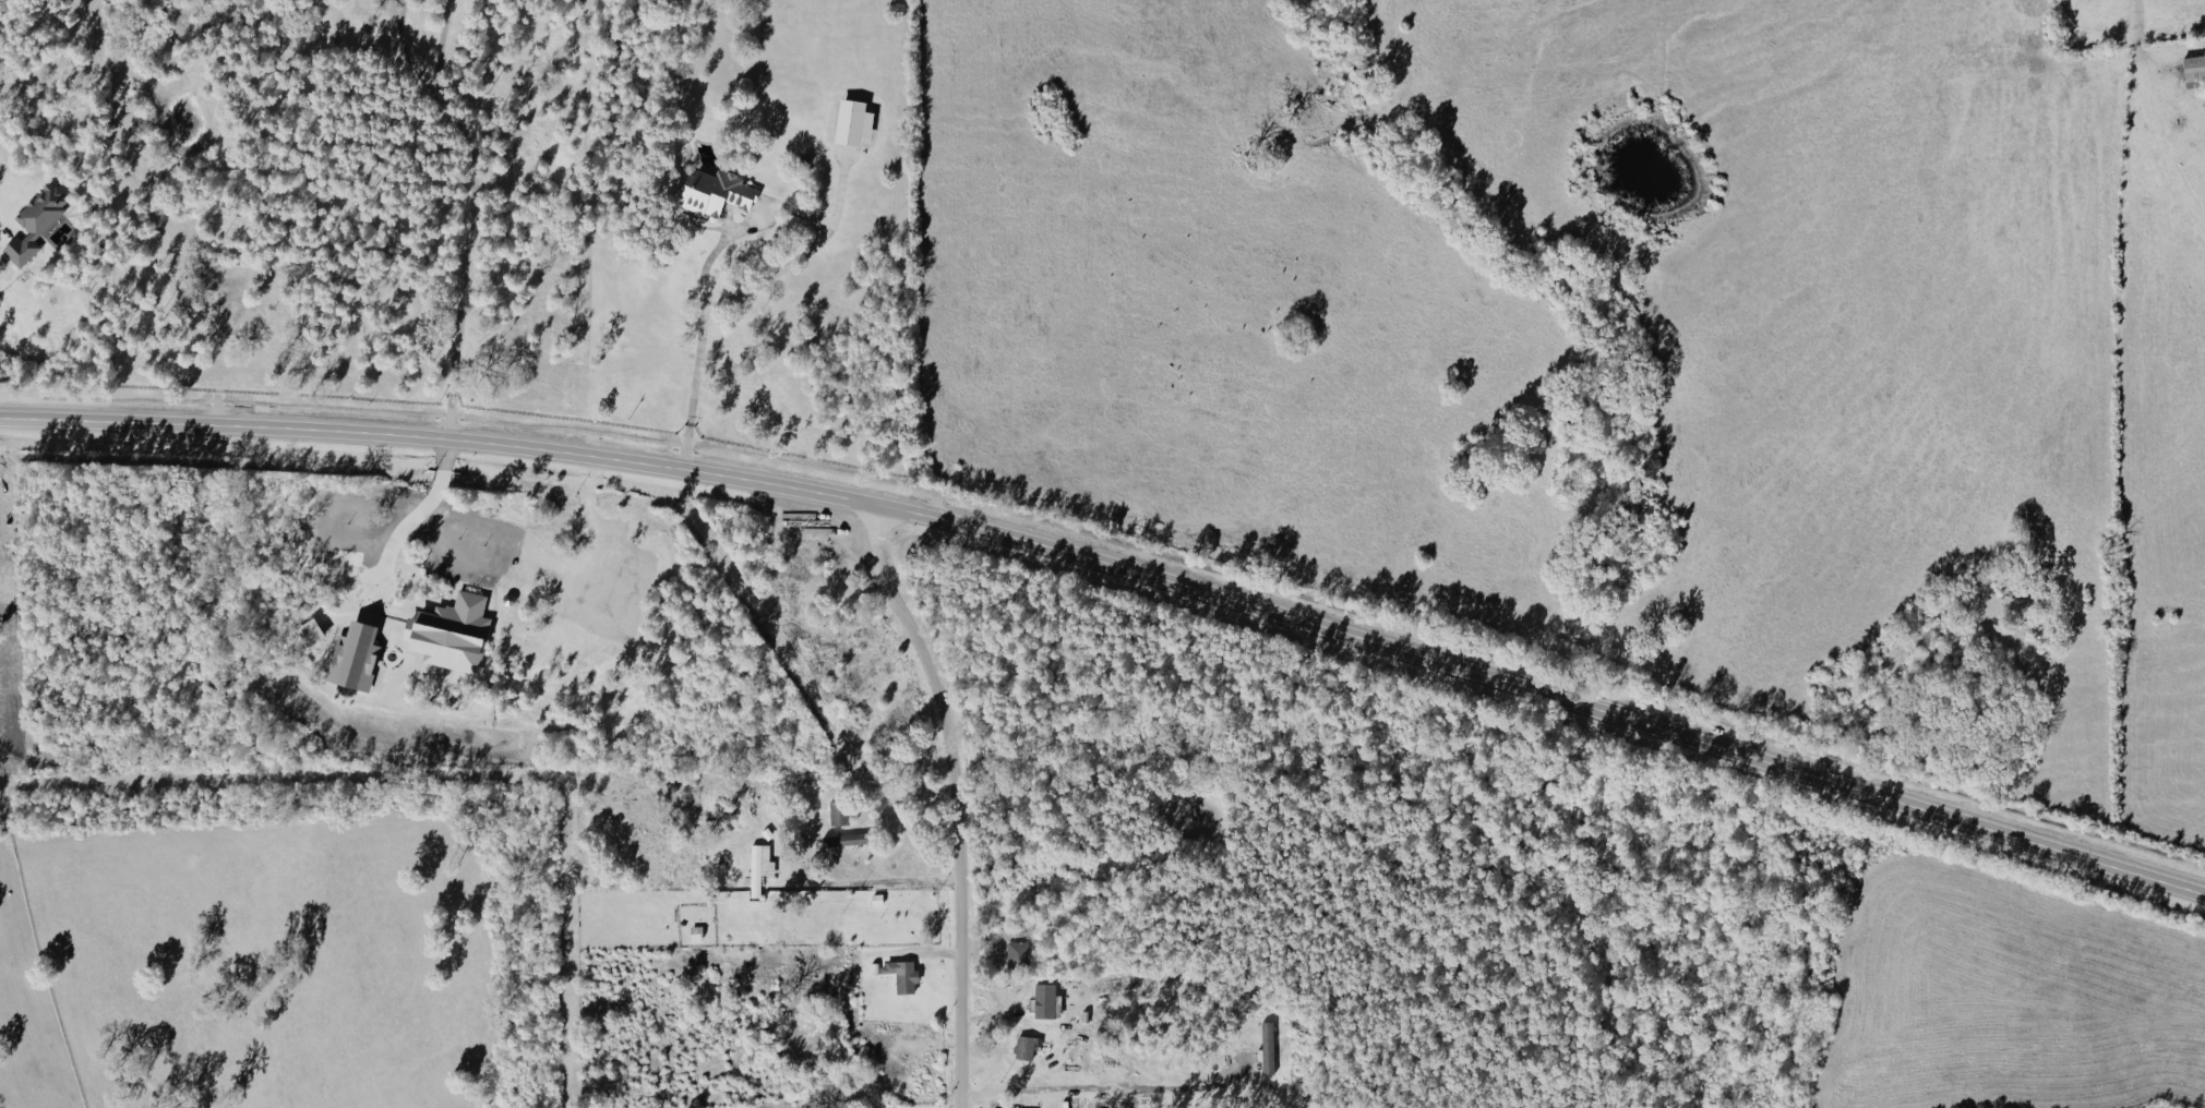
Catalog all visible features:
building: (2192, 69)
building: (850, 122)
road: (2158, 148)
building: (711, 192)
road: (478, 213)
building: (33, 221)
road: (740, 240)
road: (415, 518)
road: (1119, 563)
building: (309, 633)
building: (448, 633)
building: (844, 653)
building: (351, 658)
road: (955, 799)
building: (837, 811)
building: (844, 840)
building: (758, 867)
road: (872, 880)
road: (1010, 887)
building: (694, 934)
building: (1017, 954)
building: (901, 975)
building: (1116, 985)
building: (1044, 1001)
building: (1024, 1047)
building: (1267, 1048)
road: (870, 1079)

